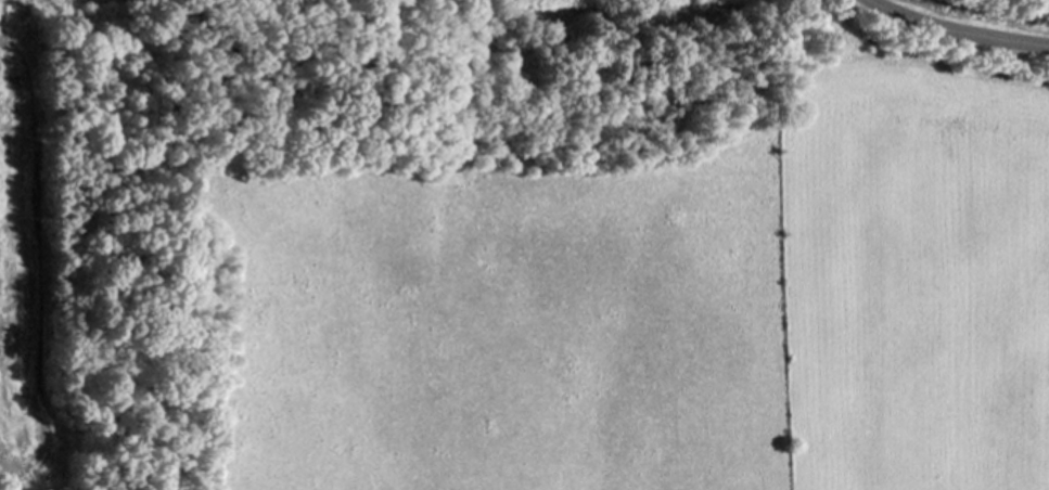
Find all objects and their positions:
road: (956, 31)

